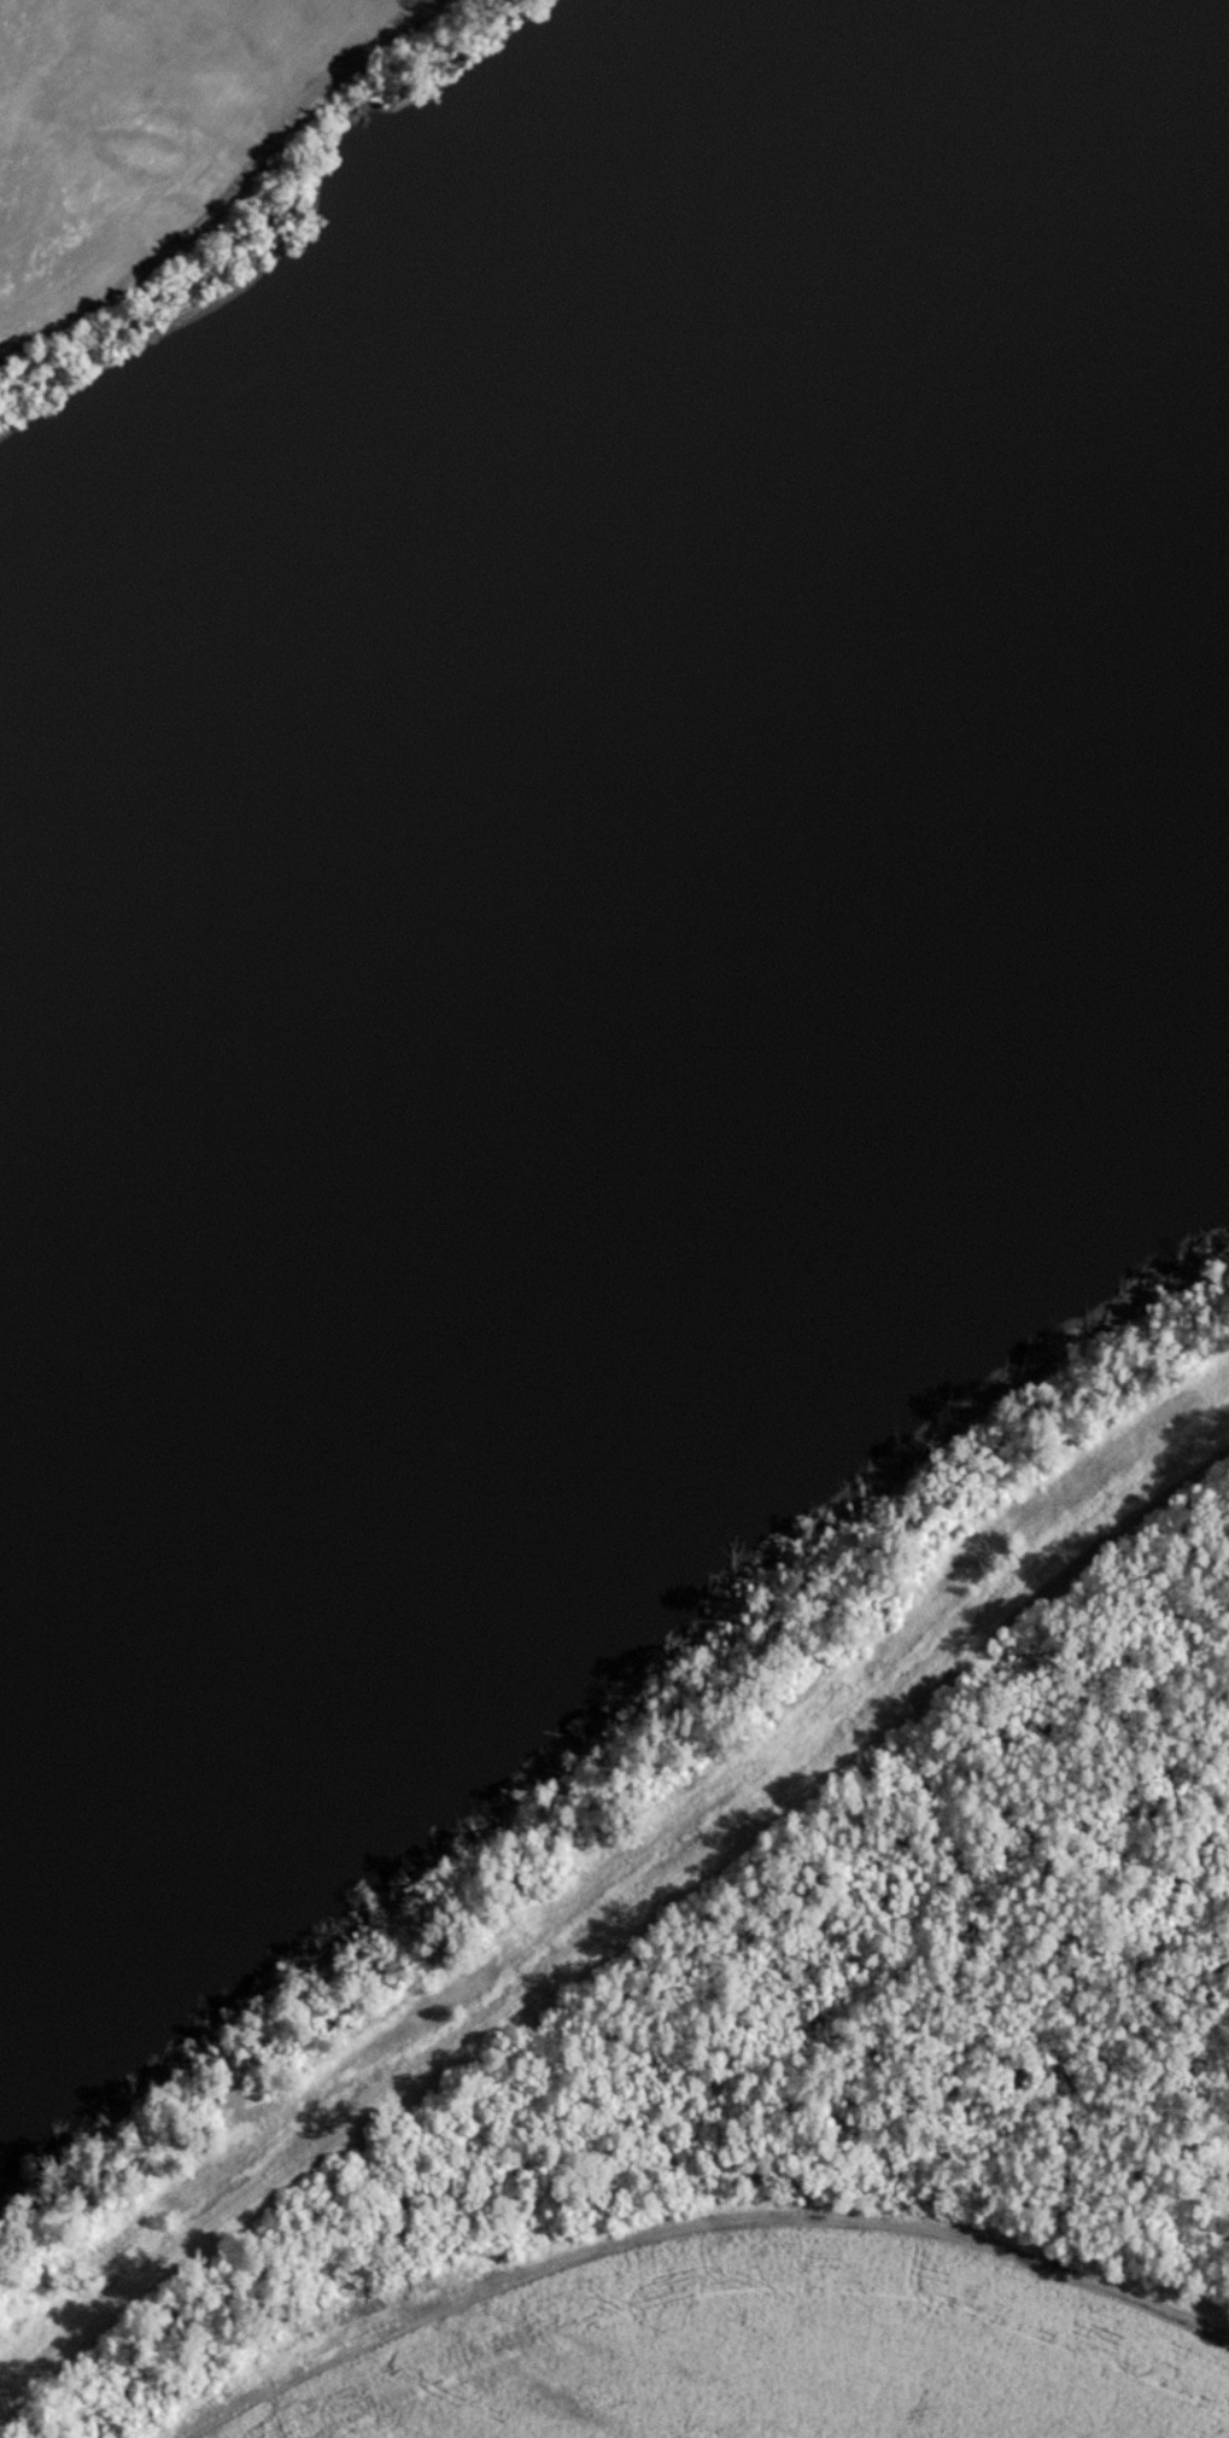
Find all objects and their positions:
road: (1, 379)
river: (614, 816)

